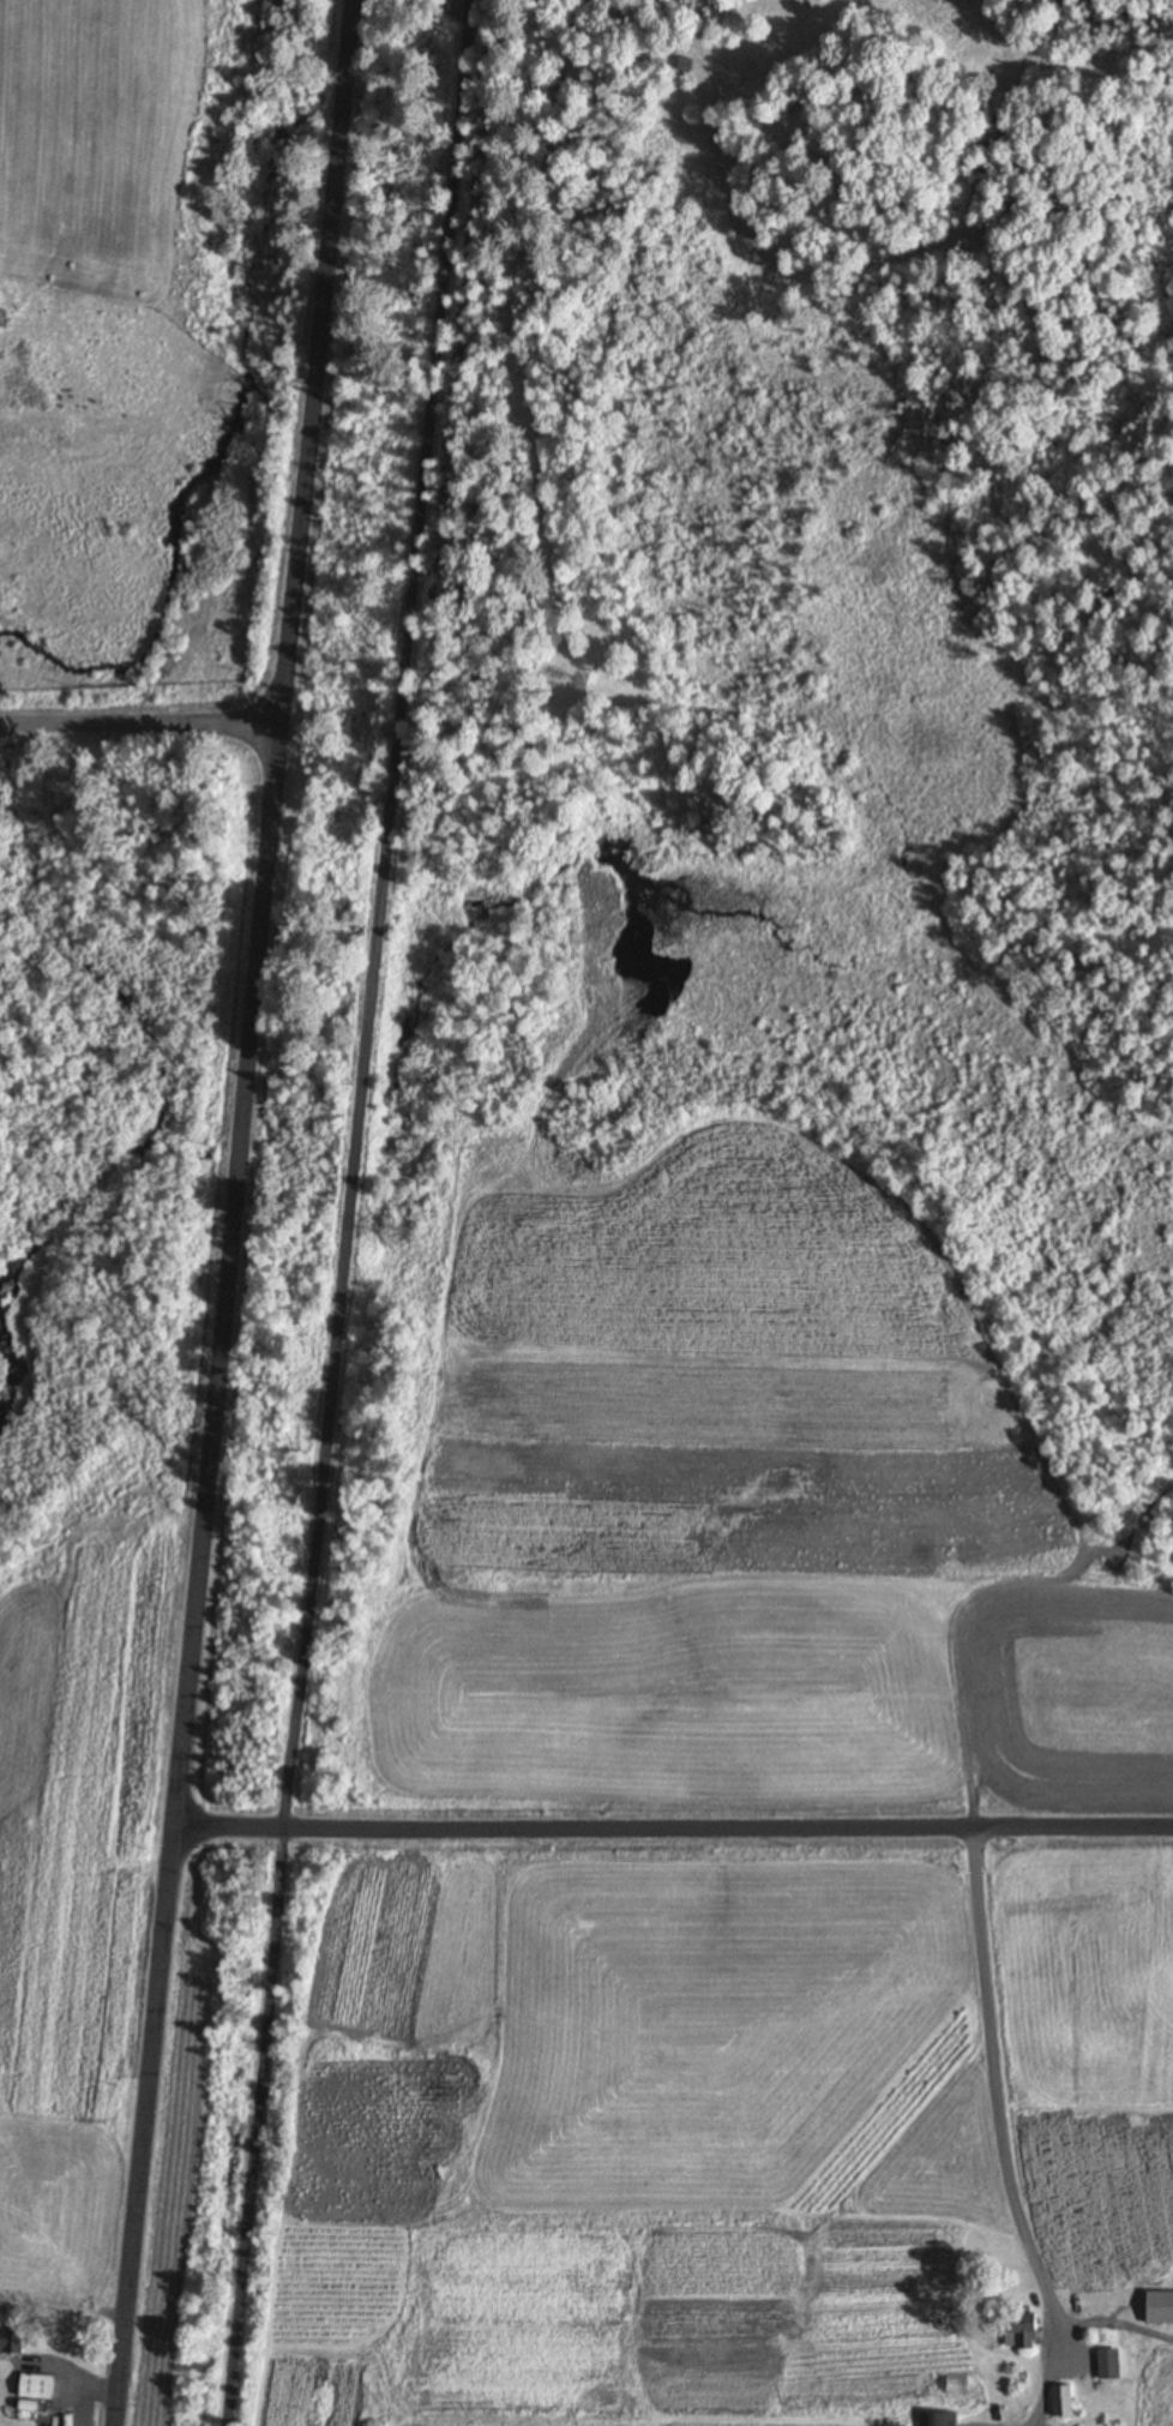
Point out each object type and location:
building: (681, 65)
road: (137, 721)
road: (344, 1212)
road: (242, 1213)
road: (675, 1842)
building: (1156, 2307)
building: (1018, 2329)
building: (14, 2341)
building: (1105, 2364)
building: (952, 2385)
building: (43, 2388)
building: (1059, 2401)
building: (937, 2419)

